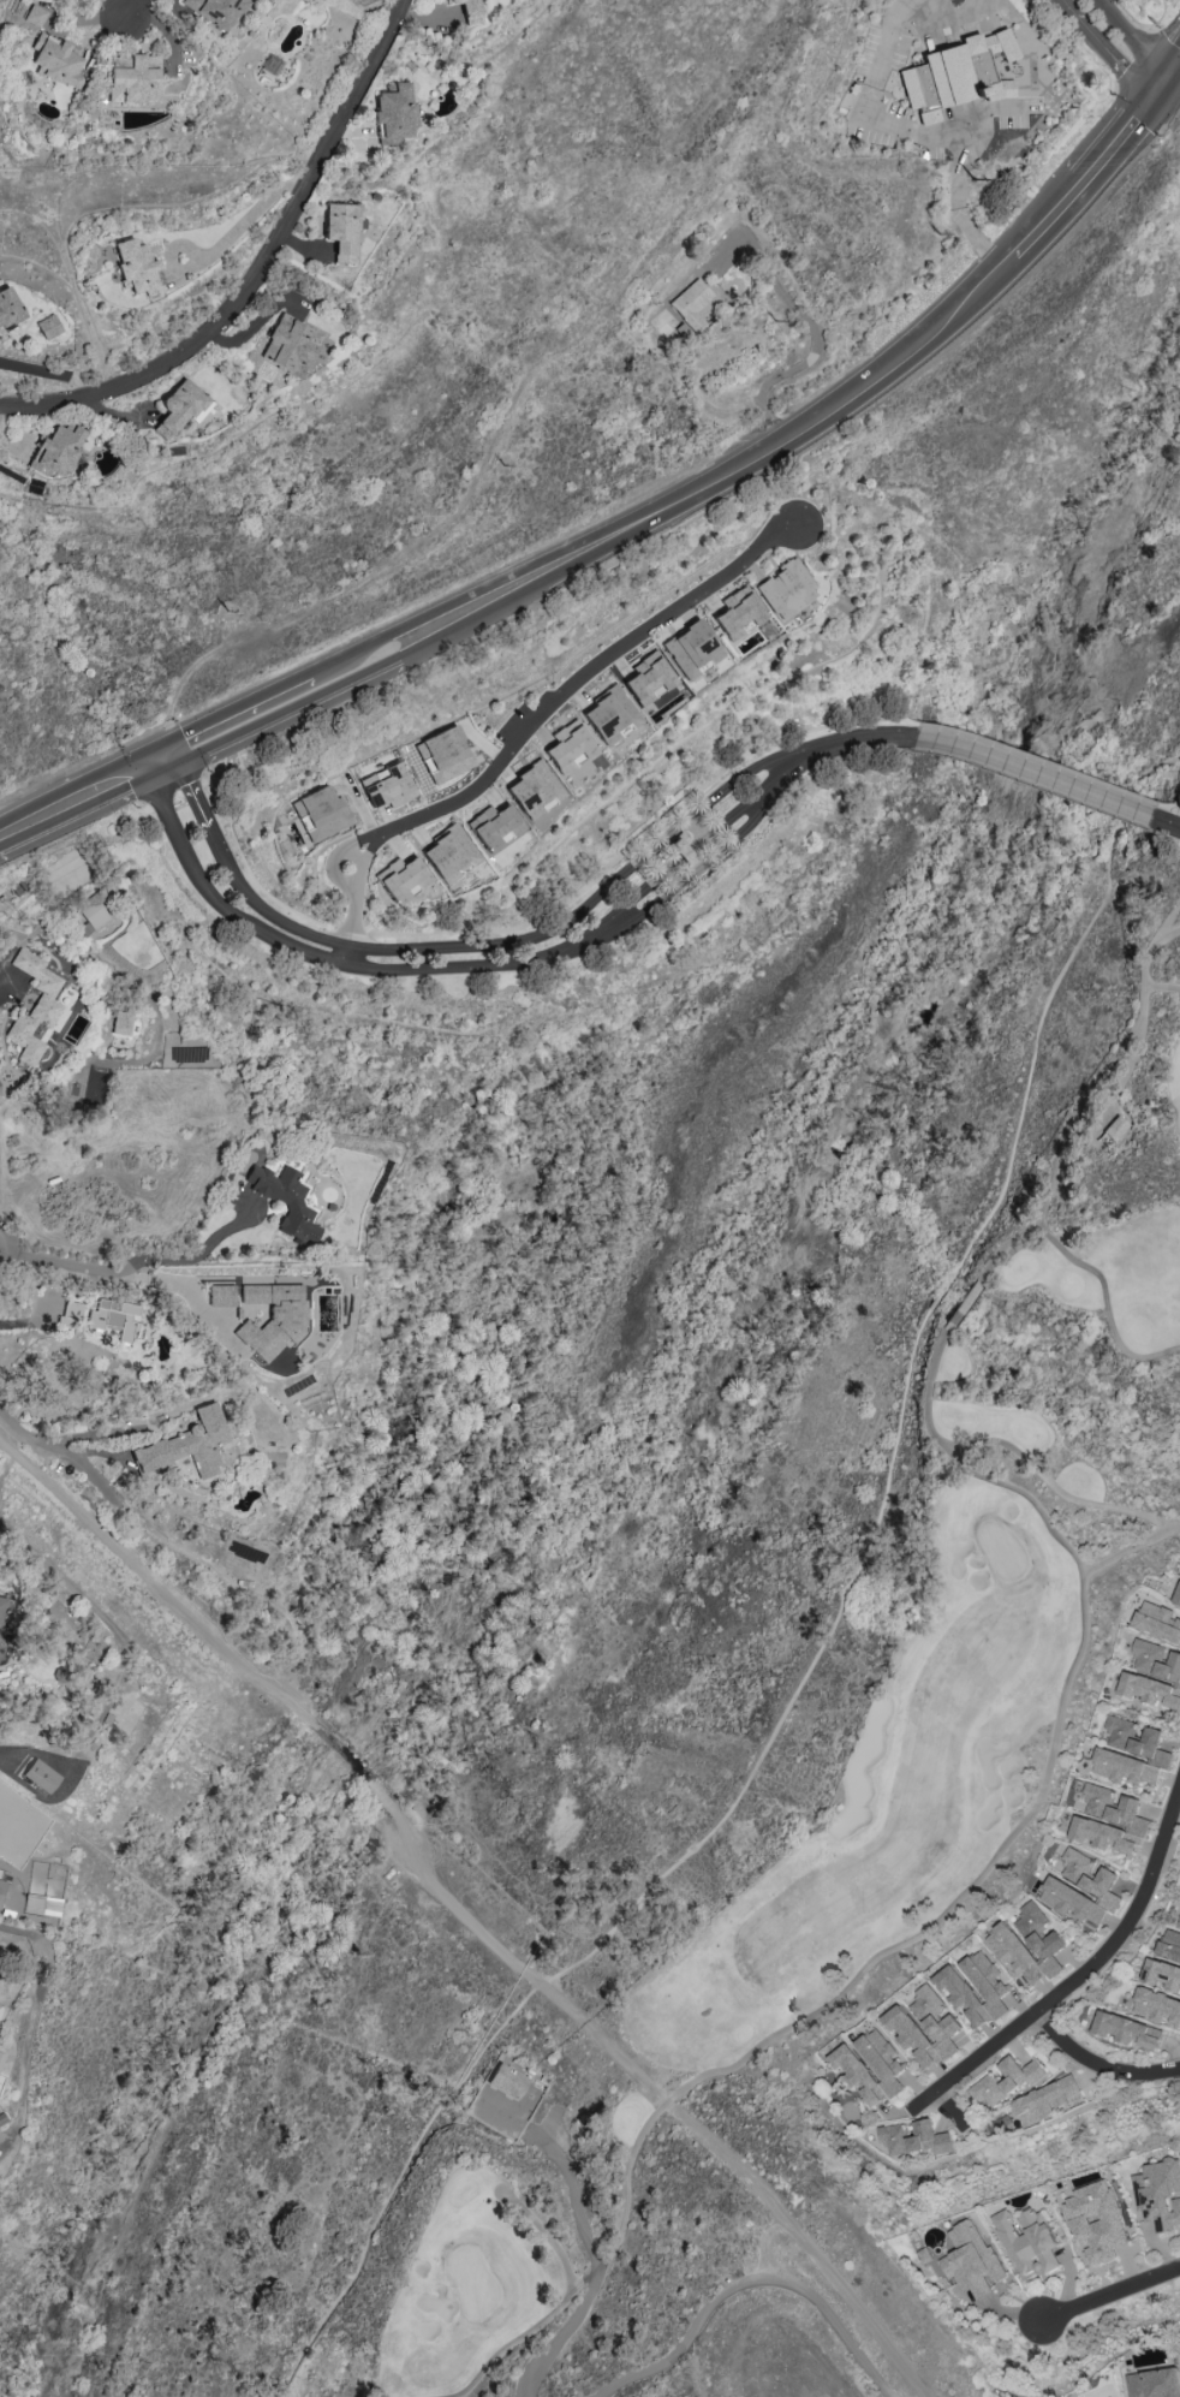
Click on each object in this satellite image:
road: (135, 4)
building: (216, 11)
building: (470, 11)
building: (34, 16)
road: (950, 23)
road: (1132, 38)
road: (1105, 49)
road: (1179, 50)
building: (55, 60)
road: (1172, 64)
building: (956, 75)
traffic signals: (1166, 76)
building: (135, 78)
road: (863, 105)
road: (975, 107)
building: (395, 113)
road: (1126, 129)
road: (960, 213)
road: (251, 214)
road: (1049, 218)
building: (342, 228)
building: (137, 268)
road: (260, 273)
building: (691, 304)
building: (8, 307)
building: (48, 327)
road: (814, 335)
building: (294, 345)
road: (49, 371)
building: (180, 408)
building: (56, 451)
road: (684, 498)
building: (786, 589)
building: (739, 612)
building: (692, 649)
building: (649, 678)
road: (573, 679)
road: (236, 714)
building: (610, 714)
building: (568, 745)
road: (838, 745)
building: (445, 755)
road: (1027, 777)
road: (737, 778)
building: (387, 786)
building: (534, 790)
road: (78, 791)
road: (753, 803)
building: (321, 813)
road: (1162, 822)
building: (495, 826)
building: (684, 849)
building: (449, 853)
road: (695, 862)
road: (231, 874)
building: (403, 879)
road: (353, 893)
building: (95, 910)
road: (552, 927)
road: (351, 956)
road: (354, 966)
road: (4, 983)
road: (1049, 1000)
building: (34, 1007)
building: (121, 1023)
building: (1115, 1128)
building: (286, 1200)
road: (2, 1245)
road: (137, 1260)
road: (175, 1284)
road: (942, 1291)
building: (221, 1295)
building: (70, 1314)
building: (273, 1318)
building: (114, 1319)
road: (18, 1321)
road: (25, 1437)
building: (187, 1445)
road: (6, 1446)
river: (526, 1501)
building: (1176, 1599)
building: (1157, 1622)
building: (1154, 1675)
park: (902, 1701)
building: (1139, 1749)
building: (41, 1776)
building: (1108, 1820)
road: (404, 1830)
road: (656, 1881)
building: (1093, 1884)
building: (1, 1889)
building: (42, 1905)
building: (1179, 1922)
building: (1041, 1937)
building: (1014, 1952)
building: (1166, 1963)
road: (1086, 1971)
building: (952, 1983)
building: (1156, 2006)
building: (924, 2027)
building: (1127, 2029)
building: (0, 2057)
road: (1098, 2065)
building: (870, 2066)
building: (507, 2080)
building: (1005, 2080)
building: (1044, 2100)
building: (914, 2137)
road: (573, 2187)
building: (1158, 2194)
building: (1095, 2220)
building: (1027, 2241)
road: (609, 2254)
building: (924, 2255)
building: (971, 2260)
road: (1110, 2290)
road: (856, 2306)
road: (705, 2310)
building: (1155, 2383)

